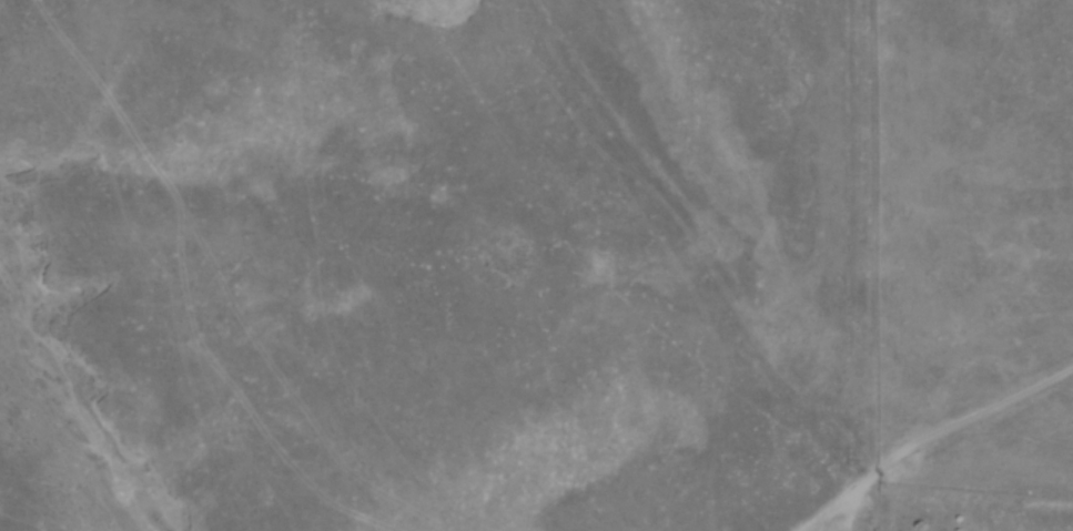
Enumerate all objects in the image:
road: (925, 437)
road: (851, 506)

